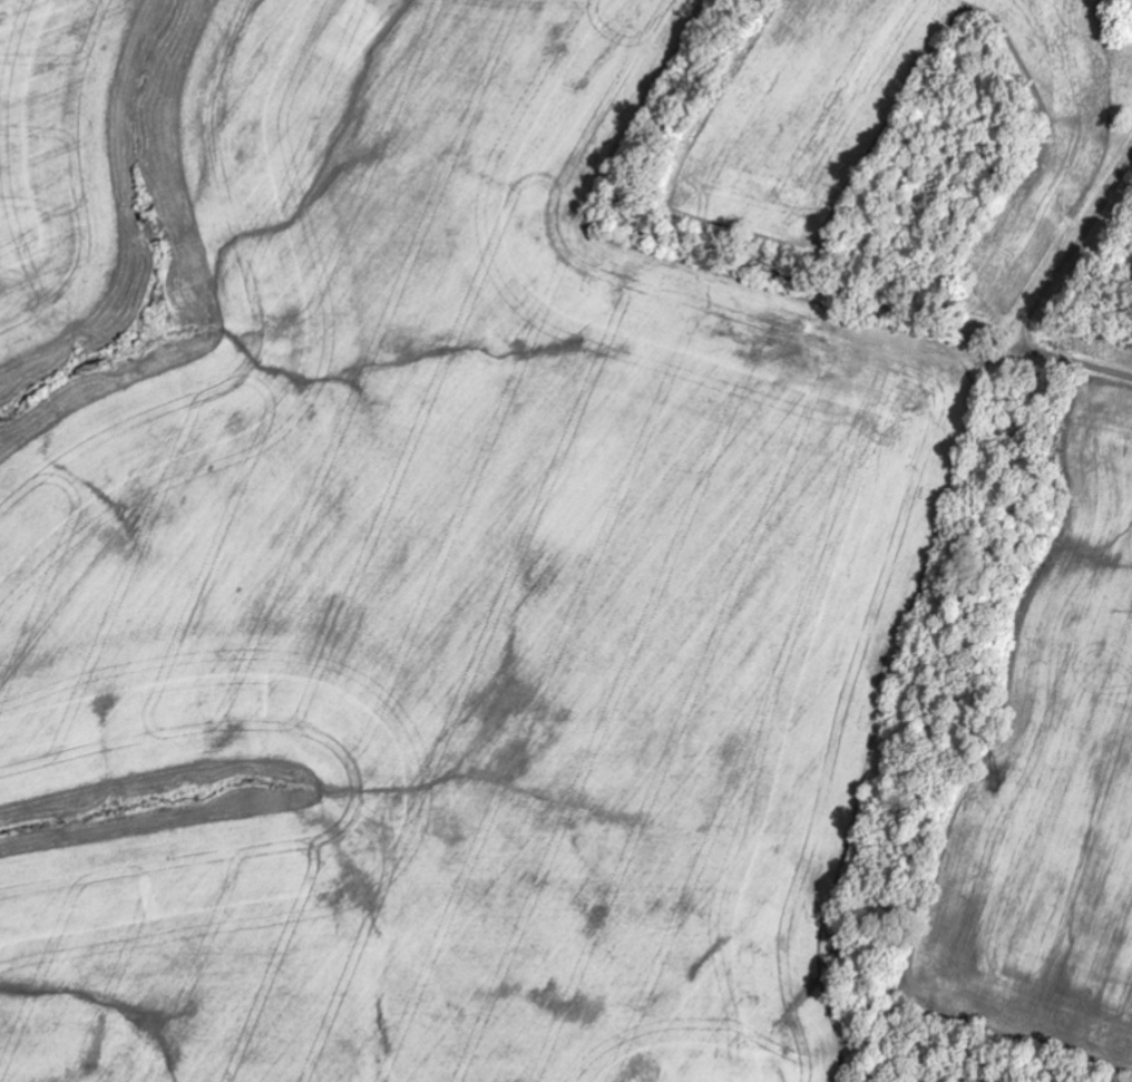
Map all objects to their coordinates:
road: (1096, 369)

